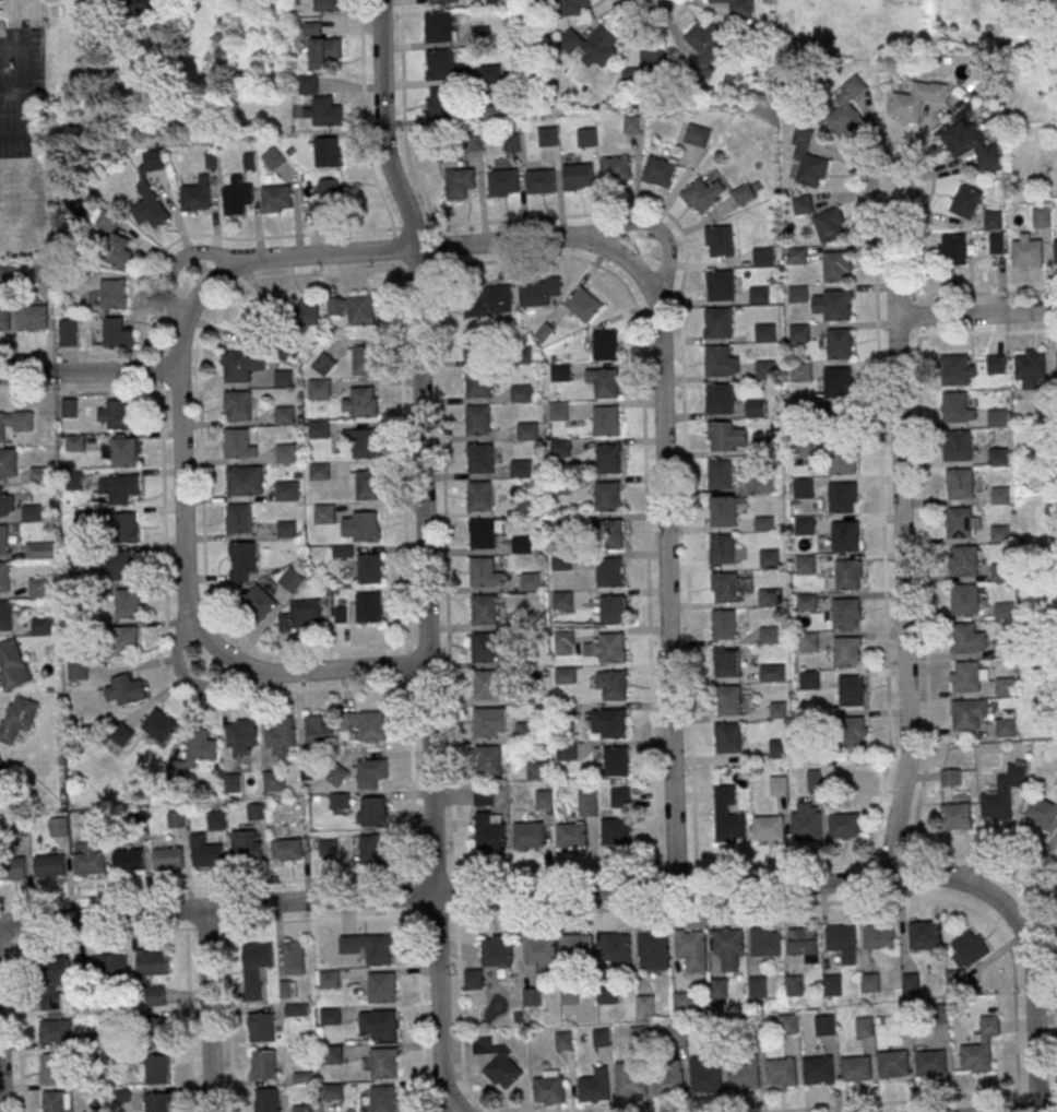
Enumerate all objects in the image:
building: (439, 2)
building: (328, 5)
building: (573, 7)
building: (736, 7)
building: (439, 26)
building: (484, 32)
building: (591, 45)
building: (706, 46)
building: (324, 51)
building: (440, 64)
building: (649, 64)
building: (489, 72)
building: (308, 84)
building: (916, 100)
building: (441, 103)
building: (846, 109)
building: (324, 113)
building: (697, 134)
building: (548, 137)
building: (585, 137)
building: (471, 142)
building: (512, 142)
building: (971, 145)
building: (328, 152)
building: (272, 159)
building: (808, 159)
building: (615, 168)
building: (658, 170)
building: (578, 176)
building: (541, 181)
building: (503, 182)
building: (460, 184)
building: (151, 193)
building: (743, 193)
building: (197, 194)
building: (237, 194)
building: (702, 194)
building: (276, 199)
building: (328, 201)
road: (895, 201)
building: (965, 201)
building: (801, 204)
building: (1042, 217)
building: (993, 220)
building: (829, 224)
road: (616, 227)
building: (718, 241)
building: (996, 242)
road: (414, 247)
building: (952, 249)
building: (119, 252)
building: (1056, 252)
road: (216, 253)
building: (1028, 255)
building: (762, 256)
building: (797, 257)
building: (836, 269)
building: (43, 272)
road: (666, 275)
building: (721, 288)
building: (537, 292)
building: (112, 294)
road: (986, 294)
road: (173, 296)
building: (797, 296)
building: (759, 297)
building: (487, 299)
building: (583, 304)
building: (353, 308)
building: (833, 308)
building: (306, 312)
road: (976, 315)
building: (4, 319)
building: (33, 320)
building: (258, 321)
building: (720, 324)
building: (69, 332)
building: (117, 333)
building: (765, 334)
building: (799, 335)
building: (477, 346)
building: (840, 346)
building: (606, 348)
building: (363, 360)
building: (720, 362)
building: (324, 364)
building: (996, 364)
building: (242, 366)
building: (958, 369)
road: (161, 371)
building: (767, 371)
building: (1031, 371)
road: (90, 372)
building: (800, 374)
building: (284, 378)
building: (838, 382)
building: (479, 386)
building: (606, 386)
building: (319, 389)
building: (521, 393)
building: (721, 401)
building: (361, 402)
building: (238, 405)
building: (957, 406)
building: (70, 407)
building: (800, 409)
building: (558, 411)
building: (756, 411)
building: (117, 415)
building: (284, 415)
building: (997, 417)
building: (838, 419)
building: (605, 421)
building: (15, 422)
building: (478, 423)
building: (318, 429)
building: (527, 430)
building: (725, 436)
building: (75, 442)
building: (240, 443)
building: (364, 443)
building: (957, 445)
road: (421, 446)
building: (762, 446)
building: (801, 448)
building: (124, 452)
building: (285, 452)
building: (998, 456)
building: (480, 458)
building: (843, 459)
building: (609, 461)
building: (9, 464)
building: (521, 468)
road: (181, 472)
building: (319, 472)
building: (721, 472)
building: (39, 475)
building: (74, 481)
building: (245, 481)
building: (959, 483)
building: (763, 484)
building: (365, 485)
building: (803, 486)
building: (119, 487)
building: (287, 490)
building: (1000, 495)
building: (607, 496)
building: (842, 496)
building: (480, 499)
building: (5, 506)
building: (725, 508)
building: (32, 513)
building: (325, 513)
building: (238, 519)
road: (882, 522)
building: (764, 523)
building: (961, 523)
building: (360, 525)
building: (804, 525)
building: (127, 528)
building: (286, 529)
building: (484, 532)
building: (999, 534)
building: (845, 535)
building: (611, 536)
building: (3, 540)
road: (923, 546)
building: (723, 548)
road: (903, 549)
building: (40, 551)
building: (769, 558)
building: (964, 560)
building: (242, 561)
building: (805, 564)
building: (121, 568)
building: (370, 568)
road: (665, 570)
building: (1000, 571)
road: (406, 572)
building: (486, 572)
building: (609, 572)
building: (847, 573)
building: (4, 577)
building: (292, 580)
building: (530, 581)
road: (688, 583)
building: (725, 584)
building: (38, 587)
building: (767, 596)
road: (648, 598)
building: (964, 599)
building: (562, 600)
building: (260, 601)
building: (806, 602)
building: (128, 603)
building: (369, 606)
building: (611, 608)
building: (485, 610)
building: (1003, 612)
building: (845, 613)
building: (5, 615)
building: (302, 615)
building: (724, 623)
building: (41, 626)
building: (768, 634)
building: (963, 638)
building: (124, 639)
building: (563, 641)
building: (807, 641)
building: (611, 646)
building: (484, 647)
building: (1002, 649)
building: (846, 651)
building: (727, 662)
building: (12, 665)
road: (448, 669)
road: (320, 670)
building: (771, 672)
building: (565, 675)
building: (965, 676)
road: (185, 677)
building: (809, 679)
building: (486, 684)
building: (615, 685)
building: (1003, 687)
building: (123, 690)
building: (851, 690)
building: (729, 699)
building: (777, 710)
building: (965, 713)
building: (17, 719)
building: (809, 719)
building: (485, 722)
building: (614, 723)
building: (366, 724)
building: (161, 725)
building: (1005, 727)
building: (319, 731)
building: (526, 731)
building: (851, 731)
building: (122, 735)
building: (241, 736)
building: (281, 736)
building: (729, 736)
building: (200, 746)
building: (779, 747)
building: (567, 752)
building: (489, 760)
building: (617, 760)
building: (2, 768)
building: (537, 769)
building: (369, 772)
building: (337, 776)
building: (950, 778)
building: (815, 780)
building: (274, 781)
building: (233, 782)
building: (777, 785)
building: (1003, 793)
building: (483, 796)
building: (620, 796)
building: (340, 802)
building: (587, 803)
building: (256, 812)
building: (371, 812)
building: (1042, 814)
building: (727, 815)
building: (955, 816)
building: (176, 819)
building: (217, 820)
building: (805, 824)
building: (843, 825)
building: (59, 827)
building: (769, 828)
building: (489, 830)
building: (617, 830)
building: (528, 833)
building: (571, 835)
building: (330, 849)
building: (286, 850)
building: (371, 850)
building: (247, 852)
building: (207, 855)
building: (169, 859)
building: (129, 861)
building: (90, 863)
road: (1021, 864)
building: (50, 866)
building: (12, 868)
road: (472, 875)
road: (521, 892)
road: (689, 908)
road: (227, 925)
building: (878, 935)
building: (924, 935)
building: (840, 937)
building: (803, 941)
building: (764, 943)
building: (615, 945)
building: (577, 946)
building: (728, 947)
building: (369, 948)
building: (539, 948)
building: (692, 949)
building: (653, 950)
building: (497, 953)
building: (293, 956)
building: (965, 956)
building: (152, 963)
building: (111, 966)
building: (256, 969)
building: (57, 970)
building: (329, 979)
building: (472, 979)
building: (869, 982)
building: (911, 982)
building: (794, 985)
building: (832, 985)
building: (381, 987)
building: (757, 987)
building: (287, 989)
building: (718, 989)
building: (606, 994)
building: (155, 995)
building: (569, 995)
building: (531, 996)
building: (681, 1002)
building: (644, 1005)
road: (438, 1006)
road: (209, 1009)
road: (228, 1019)
road: (189, 1020)
road: (1032, 1021)
building: (787, 1024)
building: (824, 1025)
building: (378, 1026)
building: (864, 1026)
road: (17, 1027)
building: (261, 1028)
building: (56, 1030)
building: (161, 1031)
building: (676, 1032)
building: (637, 1036)
building: (601, 1038)
building: (562, 1041)
building: (979, 1046)
building: (383, 1063)
building: (497, 1063)
building: (930, 1063)
building: (894, 1064)
building: (263, 1065)
building: (52, 1068)
building: (855, 1068)
building: (156, 1069)
building: (817, 1069)
building: (780, 1070)
building: (704, 1077)
building: (743, 1077)
building: (629, 1079)
building: (667, 1083)
building: (594, 1085)
building: (548, 1088)
building: (382, 1098)
road: (0, 1099)
building: (266, 1099)
building: (52, 1101)
road: (918, 1101)
building: (156, 1102)
road: (441, 1102)
road: (1046, 1111)

